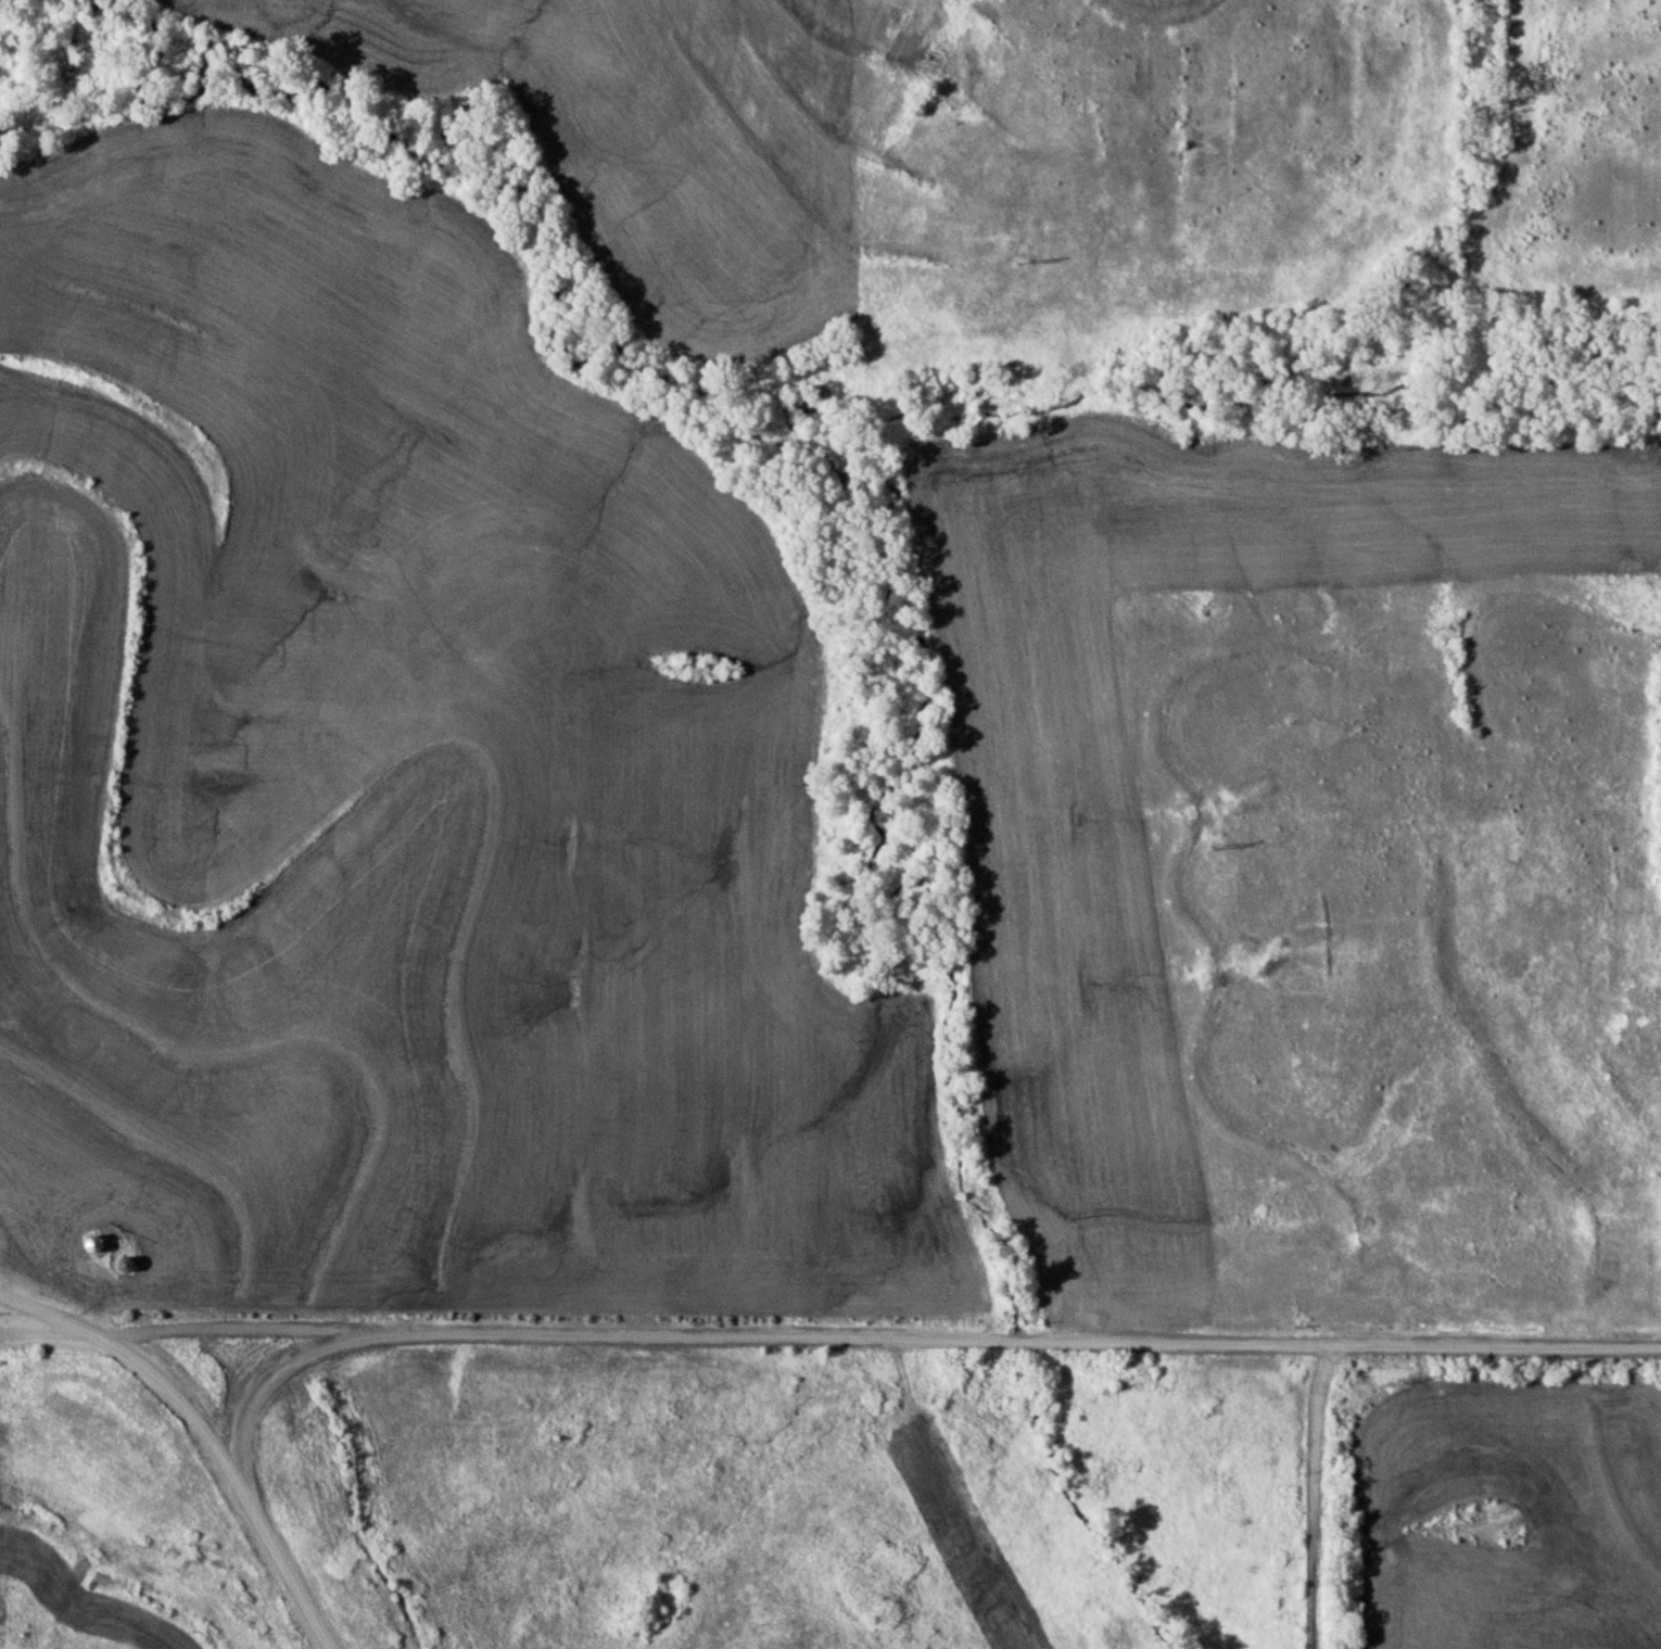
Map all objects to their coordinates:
road: (830, 1341)
road: (204, 1430)
road: (1326, 1497)

